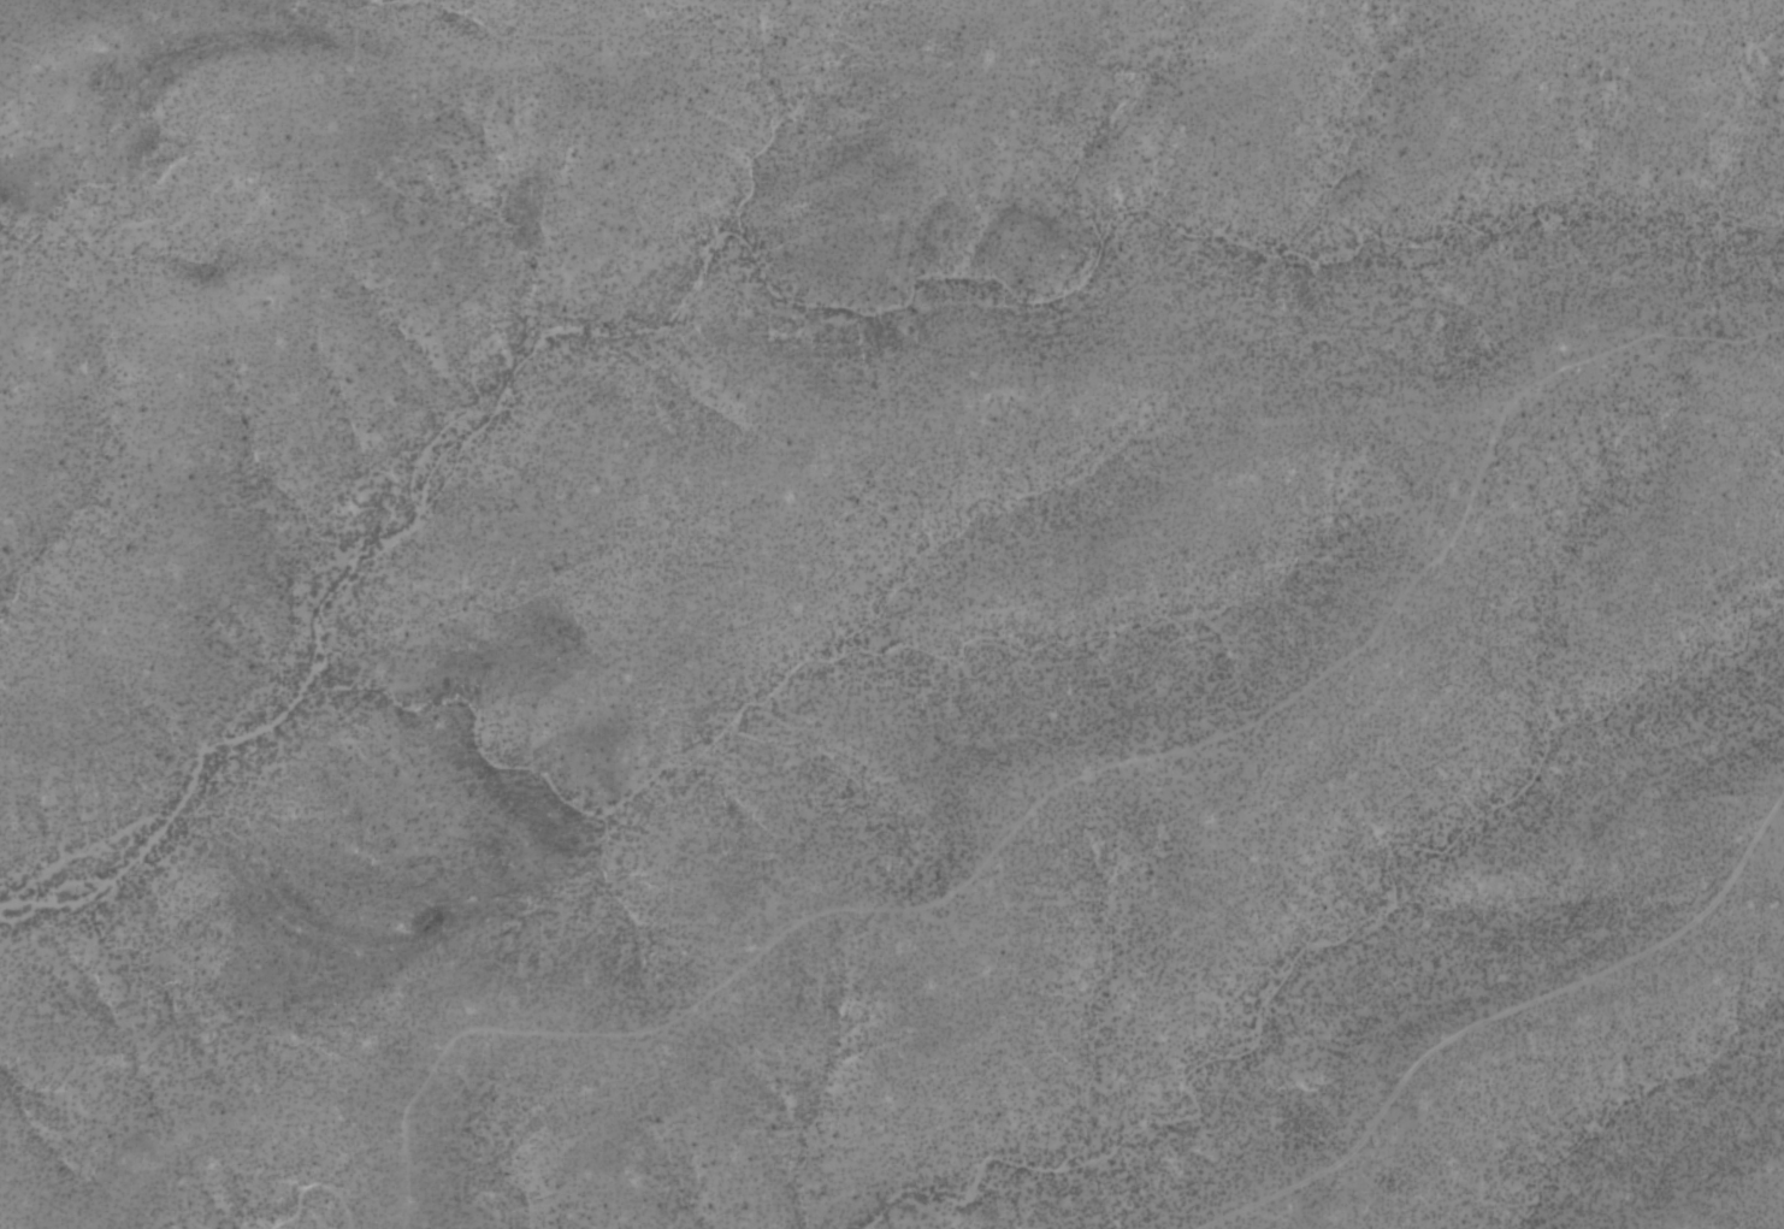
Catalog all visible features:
road: (1073, 778)
road: (323, 1190)

